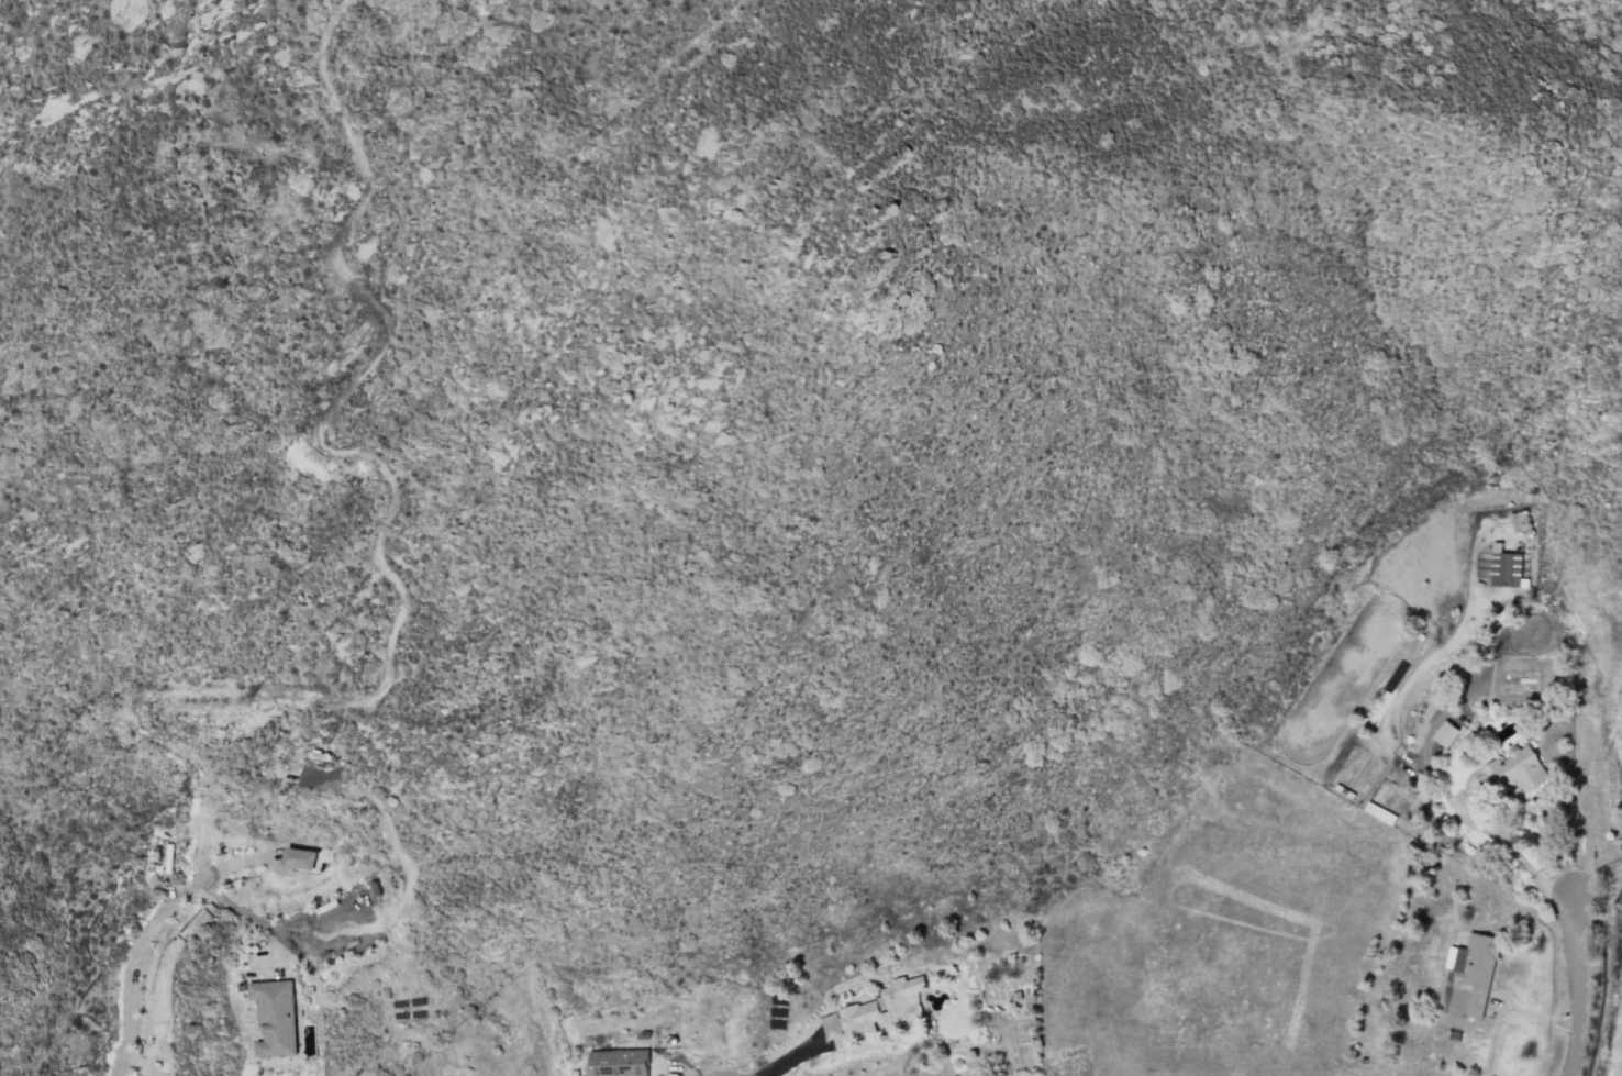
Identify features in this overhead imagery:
building: (1506, 568)
building: (1444, 733)
building: (1467, 743)
building: (1508, 772)
road: (1515, 855)
building: (300, 857)
road: (241, 907)
road: (127, 974)
building: (1469, 975)
road: (1576, 987)
building: (876, 1010)
building: (275, 1017)
building: (618, 1062)
road: (699, 1073)

